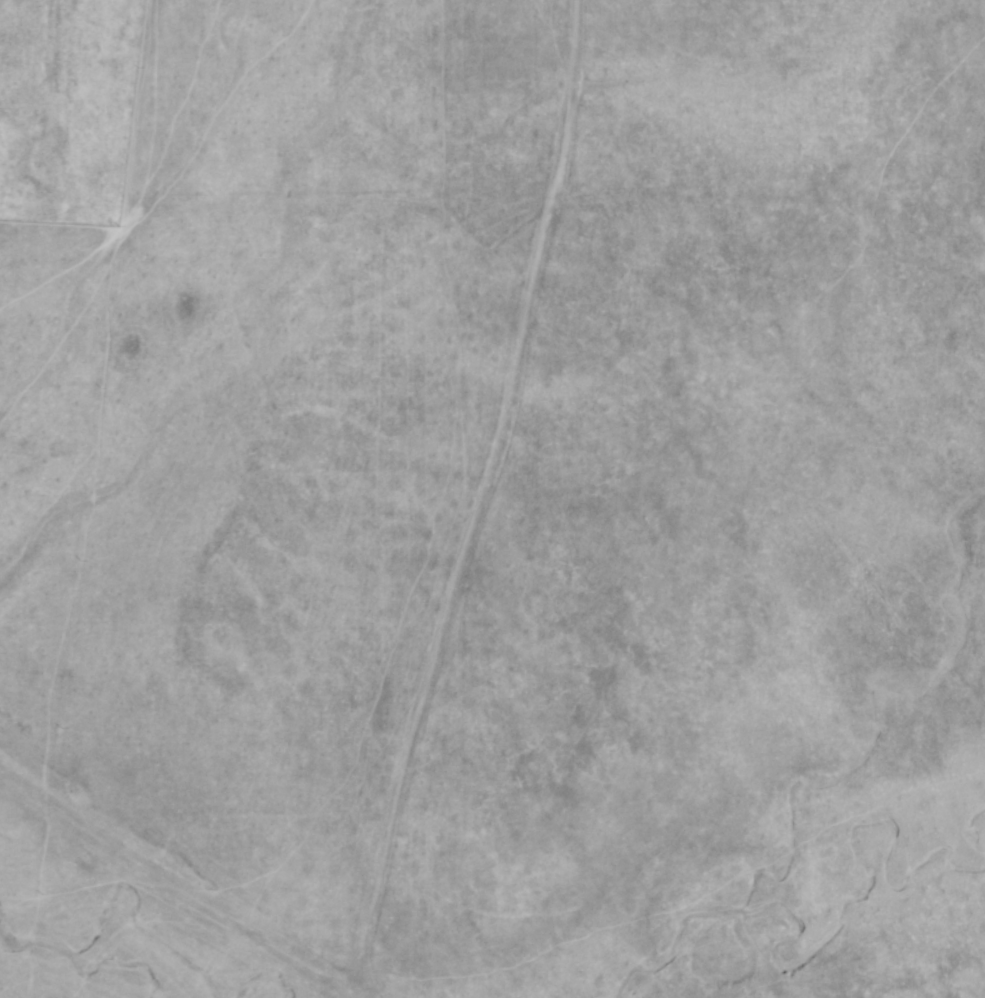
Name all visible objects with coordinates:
road: (47, 99)
road: (260, 203)
road: (480, 500)
road: (252, 935)

